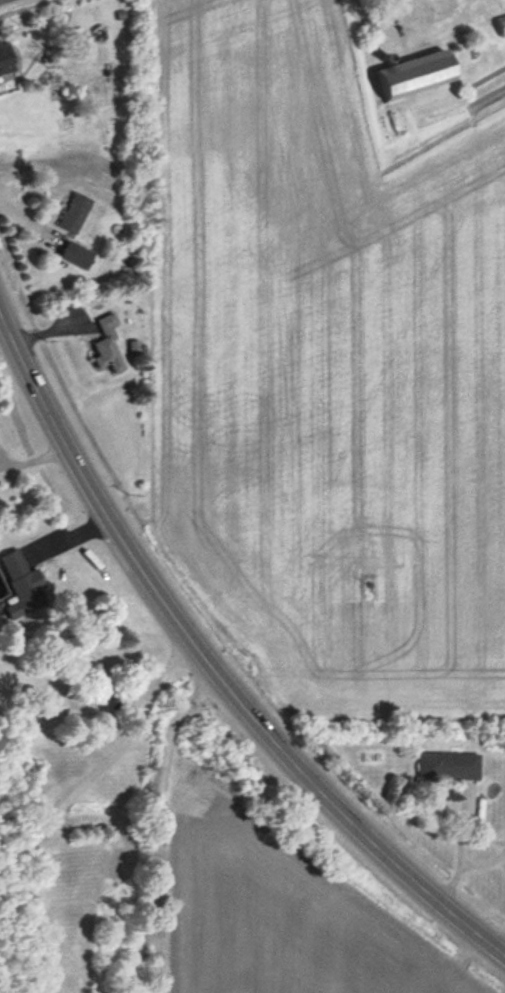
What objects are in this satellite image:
road: (386, 6)
building: (501, 24)
building: (4, 62)
building: (415, 74)
building: (74, 211)
building: (75, 254)
building: (107, 344)
road: (34, 459)
building: (22, 584)
road: (211, 666)
road: (113, 755)
building: (447, 766)
road: (155, 823)

